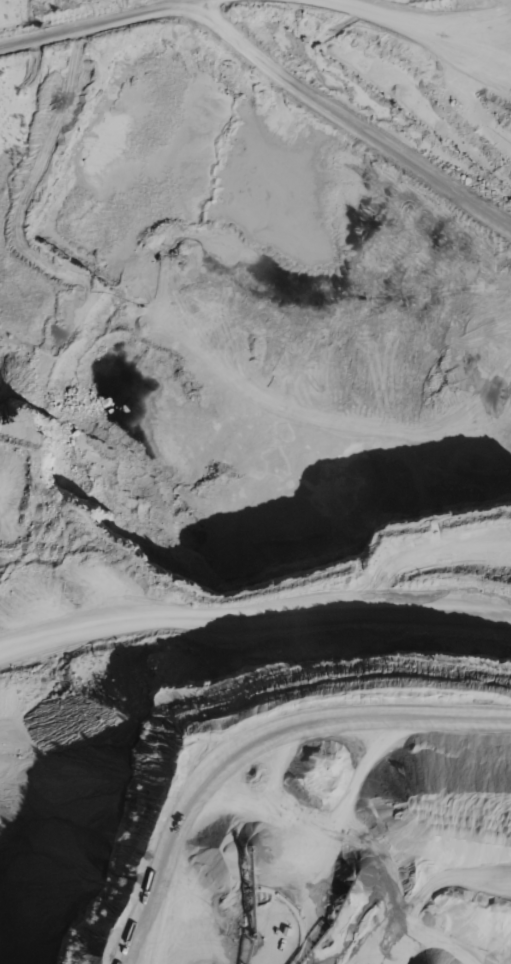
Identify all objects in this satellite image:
quarry: (255, 482)

